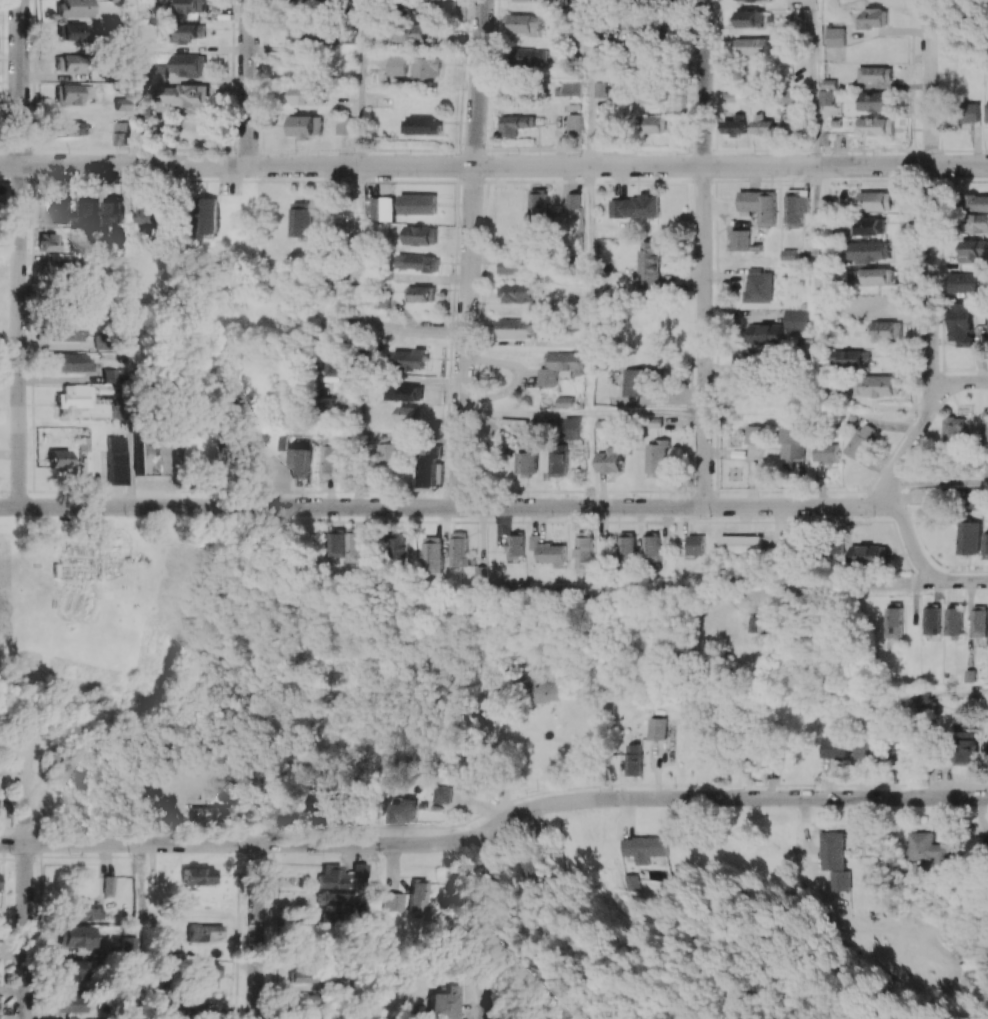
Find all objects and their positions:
building: (756, 0)
building: (424, 4)
building: (191, 6)
building: (73, 8)
building: (755, 18)
building: (873, 18)
building: (529, 24)
building: (72, 31)
building: (417, 32)
building: (189, 33)
building: (836, 36)
building: (757, 45)
building: (533, 57)
building: (69, 63)
building: (188, 64)
building: (398, 65)
building: (428, 67)
building: (160, 71)
building: (701, 71)
building: (144, 74)
building: (876, 74)
road: (134, 82)
road: (247, 82)
road: (358, 82)
road: (590, 83)
building: (600, 90)
building: (653, 91)
building: (73, 93)
building: (307, 94)
building: (186, 95)
building: (827, 97)
building: (878, 101)
building: (121, 104)
building: (143, 105)
building: (971, 112)
building: (987, 112)
building: (575, 123)
building: (655, 123)
building: (793, 123)
building: (516, 124)
building: (345, 125)
building: (422, 125)
building: (737, 125)
building: (764, 125)
building: (877, 125)
building: (305, 126)
building: (73, 129)
building: (121, 133)
road: (493, 166)
building: (574, 200)
building: (877, 200)
building: (978, 202)
building: (419, 204)
building: (538, 205)
building: (760, 205)
road: (818, 205)
building: (646, 206)
building: (383, 208)
building: (620, 208)
building: (796, 209)
building: (61, 211)
building: (149, 211)
building: (89, 213)
building: (114, 213)
road: (930, 215)
building: (208, 217)
building: (302, 219)
building: (978, 223)
building: (871, 226)
building: (421, 235)
building: (741, 239)
building: (48, 242)
road: (356, 246)
building: (974, 250)
building: (872, 251)
road: (20, 253)
road: (703, 253)
road: (469, 254)
building: (790, 254)
building: (418, 262)
building: (513, 265)
building: (649, 266)
building: (882, 275)
building: (967, 282)
building: (759, 286)
road: (590, 289)
building: (422, 293)
building: (516, 293)
building: (796, 320)
building: (962, 323)
road: (387, 328)
building: (516, 328)
building: (888, 330)
building: (69, 331)
building: (765, 333)
road: (133, 336)
building: (409, 358)
building: (750, 358)
building: (851, 358)
building: (72, 362)
building: (331, 365)
building: (559, 366)
building: (356, 371)
building: (111, 375)
building: (638, 381)
road: (961, 382)
building: (884, 385)
building: (404, 392)
building: (76, 396)
road: (761, 411)
road: (646, 412)
building: (411, 413)
road: (525, 413)
building: (986, 427)
building: (572, 428)
building: (955, 431)
building: (754, 434)
road: (372, 437)
building: (793, 441)
building: (862, 441)
road: (912, 441)
building: (826, 452)
building: (153, 454)
building: (388, 455)
building: (328, 457)
building: (59, 458)
building: (657, 458)
building: (117, 459)
building: (609, 460)
building: (558, 461)
building: (301, 462)
building: (526, 463)
building: (426, 467)
building: (343, 469)
road: (936, 484)
building: (973, 500)
road: (448, 508)
road: (909, 536)
building: (969, 537)
building: (336, 542)
building: (516, 544)
building: (627, 544)
building: (696, 544)
building: (741, 544)
building: (354, 545)
building: (652, 545)
building: (985, 545)
building: (549, 551)
building: (585, 552)
building: (432, 554)
building: (869, 555)
building: (465, 557)
road: (963, 582)
road: (830, 585)
building: (932, 619)
building: (980, 620)
building: (954, 621)
building: (894, 622)
building: (761, 625)
road: (940, 688)
building: (537, 690)
building: (656, 728)
road: (492, 746)
building: (833, 747)
building: (901, 747)
building: (868, 749)
building: (765, 752)
building: (635, 759)
building: (192, 785)
building: (440, 794)
building: (321, 807)
building: (209, 812)
road: (494, 825)
building: (643, 848)
building: (930, 848)
building: (834, 860)
building: (528, 863)
building: (362, 870)
building: (199, 876)
building: (332, 877)
road: (25, 878)
building: (0, 882)
building: (626, 882)
building: (109, 884)
building: (420, 894)
building: (332, 901)
building: (395, 901)
building: (86, 909)
road: (141, 931)
road: (259, 931)
building: (205, 932)
building: (78, 936)
building: (127, 948)
building: (73, 969)
building: (301, 974)
building: (204, 975)
building: (71, 1003)
building: (303, 1003)
building: (447, 1003)
road: (491, 1005)
building: (196, 1006)

